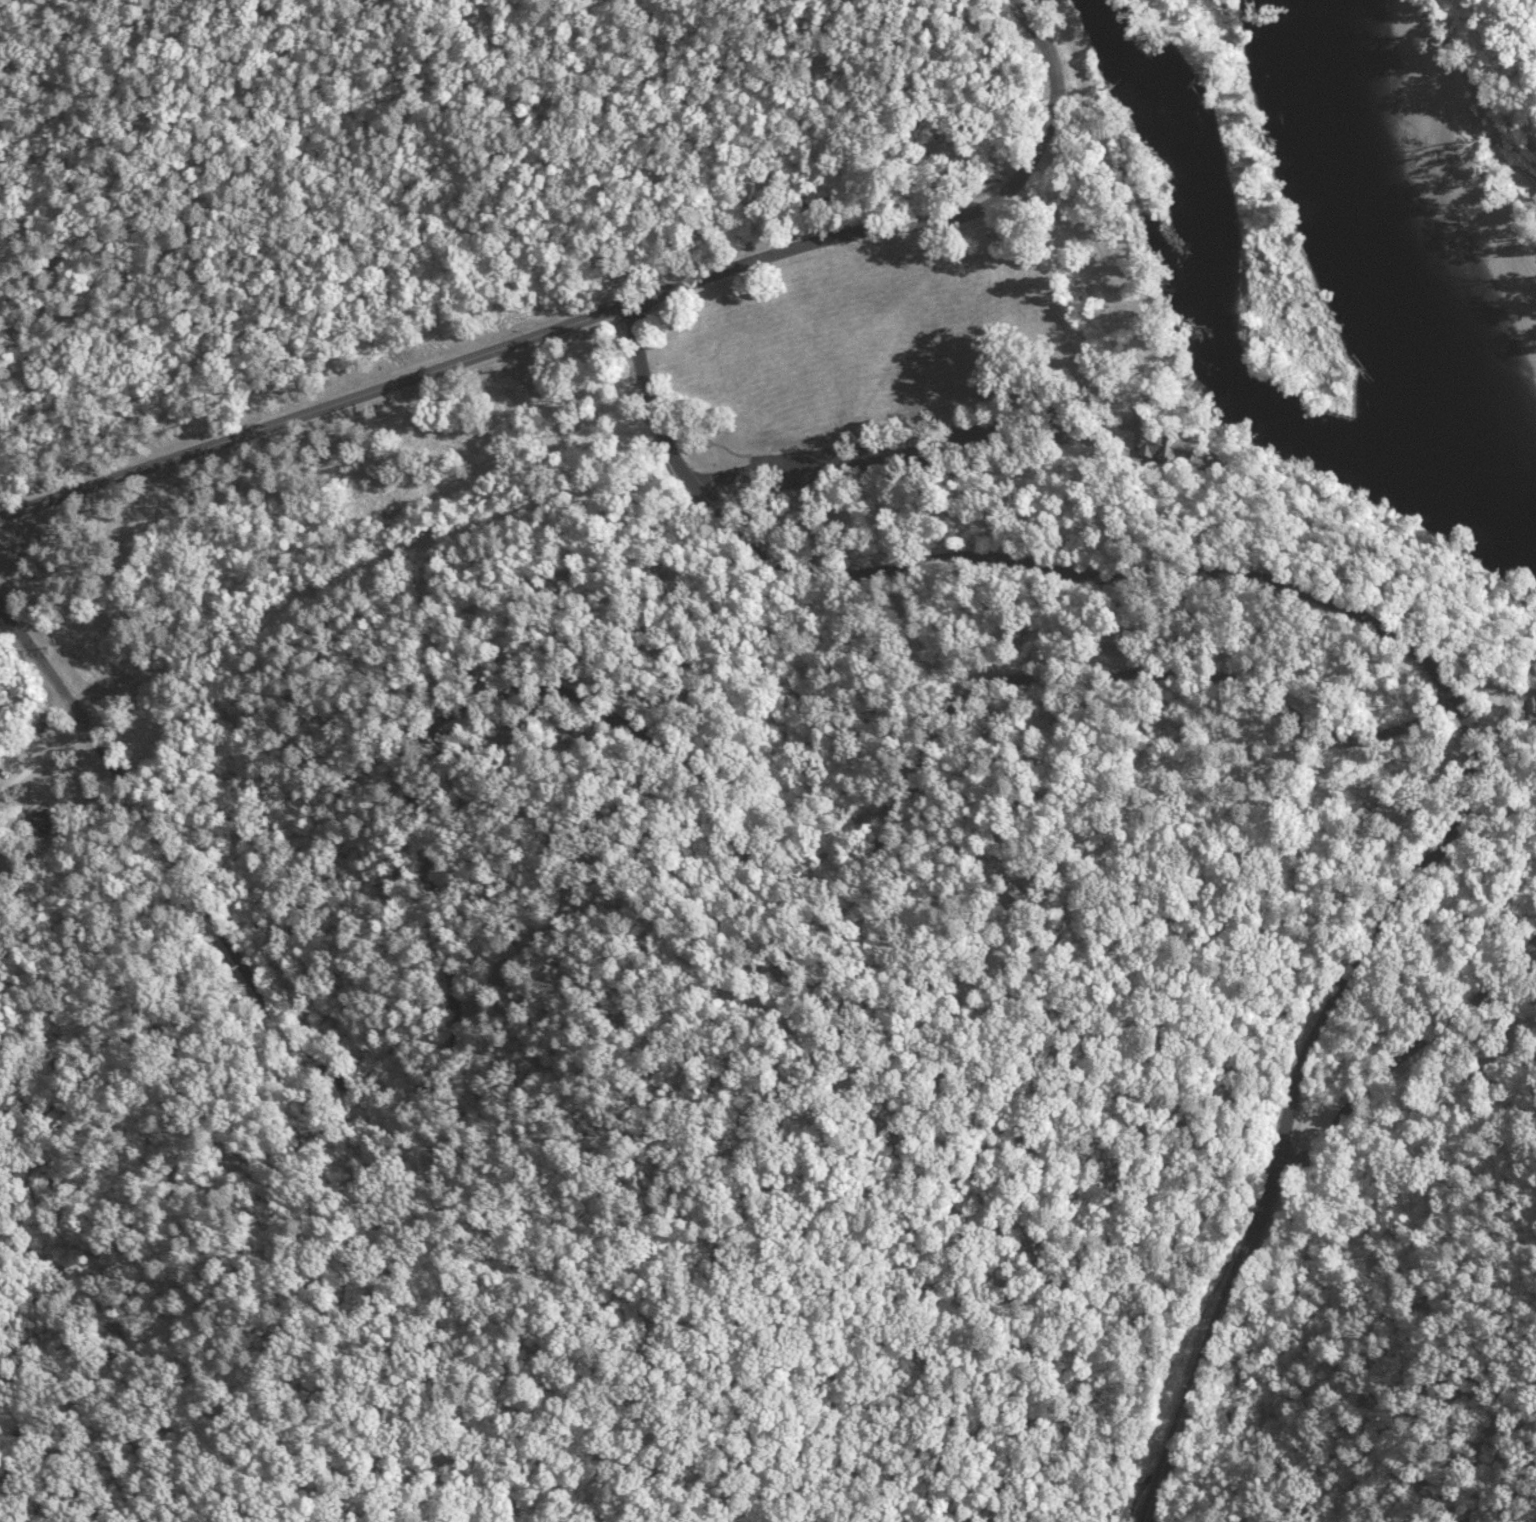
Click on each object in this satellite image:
road: (1050, 88)
road: (822, 239)
river: (1402, 251)
river: (1222, 346)
road: (315, 405)
road: (1192, 418)
road: (809, 486)
road: (1415, 646)
road: (46, 673)
road: (592, 700)
building: (1059, 714)
building: (510, 734)
road: (48, 765)
park: (758, 769)
building: (44, 820)
road: (665, 827)
road: (1070, 853)
road: (944, 1036)
road: (1405, 1045)
road: (1477, 1061)
road: (825, 1098)
road: (1355, 1303)
road: (551, 1338)

